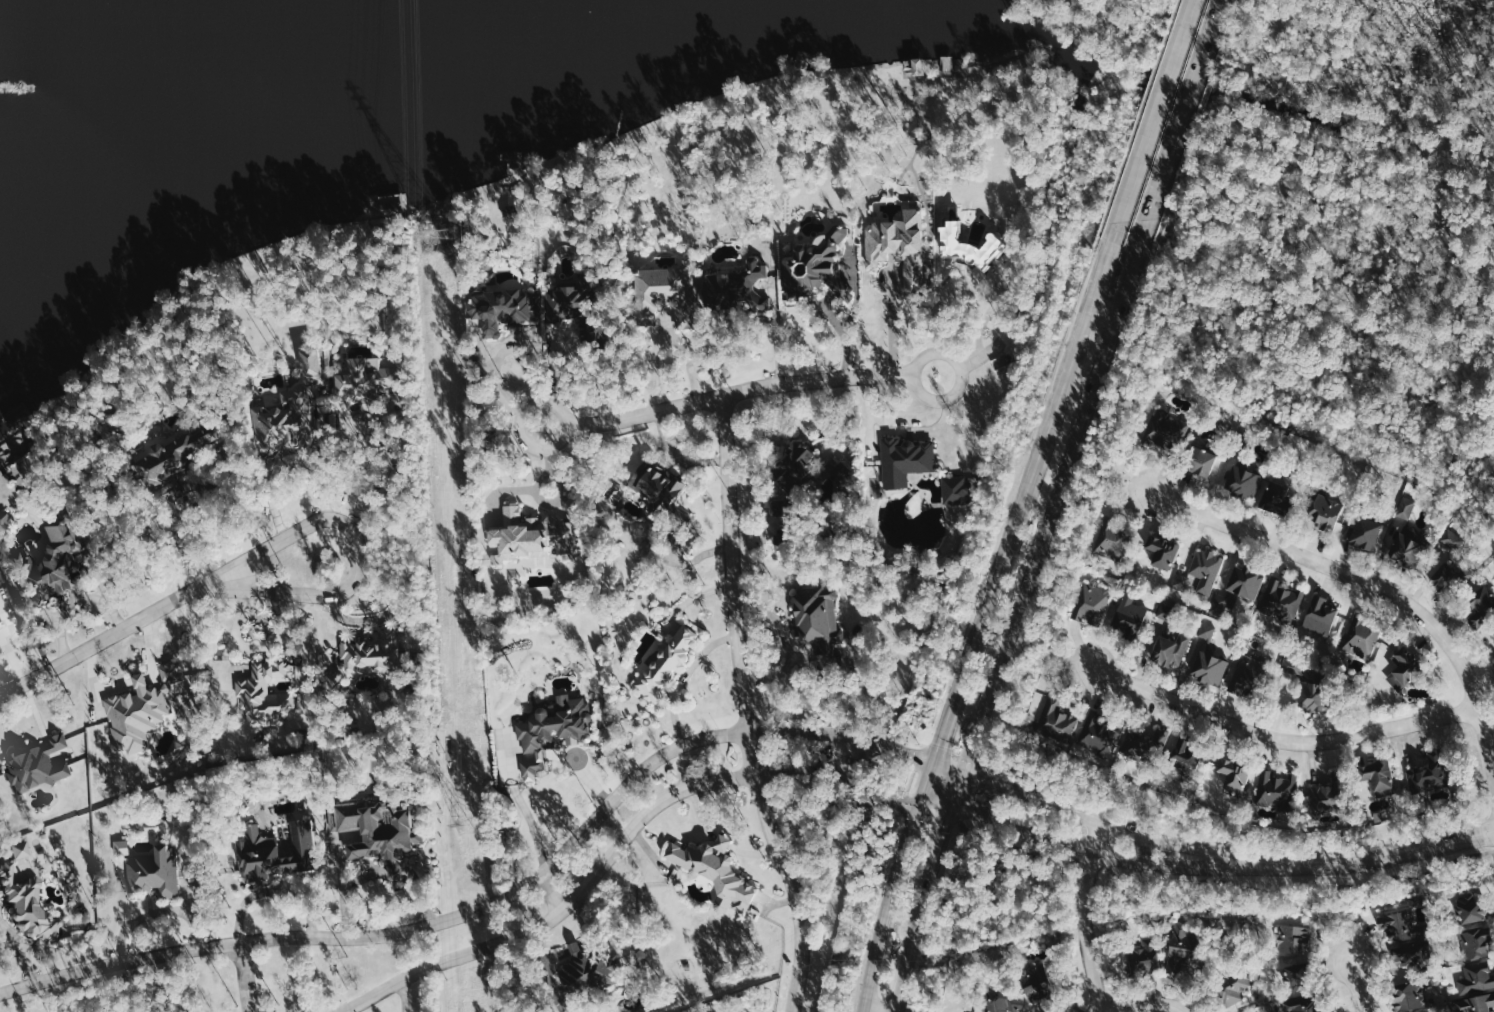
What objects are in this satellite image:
building: (945, 64)
building: (914, 67)
road: (1166, 72)
road: (1194, 78)
road: (1210, 79)
power tower: (437, 233)
building: (893, 239)
building: (963, 243)
building: (487, 277)
building: (734, 288)
building: (665, 293)
building: (573, 307)
building: (503, 308)
road: (892, 324)
road: (977, 332)
road: (663, 336)
building: (321, 363)
building: (364, 378)
road: (566, 383)
road: (503, 387)
road: (735, 391)
building: (290, 411)
road: (1049, 418)
building: (1165, 433)
building: (191, 450)
road: (675, 454)
road: (285, 457)
road: (400, 459)
building: (903, 460)
building: (1198, 460)
road: (1067, 465)
building: (793, 467)
road: (1080, 468)
building: (1242, 481)
building: (656, 486)
building: (954, 489)
building: (1277, 497)
building: (1406, 508)
building: (1326, 511)
building: (4, 522)
road: (190, 527)
building: (1365, 532)
building: (532, 535)
building: (1111, 539)
building: (782, 542)
building: (1406, 547)
road: (356, 549)
building: (1162, 552)
building: (1449, 562)
building: (49, 566)
building: (1205, 569)
road: (731, 572)
road: (1359, 574)
building: (1244, 581)
road: (395, 600)
building: (1223, 601)
building: (1282, 602)
building: (1091, 603)
building: (1481, 606)
building: (1128, 614)
building: (1319, 615)
building: (816, 618)
building: (2, 619)
road: (359, 619)
building: (1206, 631)
building: (1360, 634)
road: (108, 637)
building: (1169, 649)
building: (375, 654)
road: (15, 658)
building: (667, 662)
building: (1291, 666)
building: (1208, 667)
building: (1405, 667)
building: (1243, 675)
road: (681, 676)
building: (333, 684)
building: (264, 695)
building: (1310, 695)
building: (140, 708)
building: (1056, 721)
building: (552, 731)
building: (1101, 733)
road: (1282, 733)
road: (1, 734)
traffic signals: (939, 741)
road: (874, 742)
building: (1144, 744)
road: (936, 748)
road: (843, 754)
building: (1185, 755)
building: (36, 766)
road: (946, 768)
building: (1428, 773)
building: (1232, 775)
building: (1378, 776)
traffic signals: (981, 780)
road: (865, 787)
building: (1275, 788)
traffic signals: (898, 798)
building: (1321, 802)
road: (932, 804)
road: (1096, 819)
traffic signals: (944, 823)
power tower: (467, 824)
building: (376, 831)
road: (941, 831)
road: (718, 838)
building: (126, 847)
building: (20, 850)
road: (1088, 850)
building: (276, 852)
road: (1364, 854)
building: (153, 871)
building: (714, 872)
road: (790, 878)
road: (581, 889)
road: (549, 890)
building: (1467, 905)
road: (885, 907)
building: (25, 908)
road: (1084, 916)
road: (435, 921)
building: (1400, 923)
building: (1292, 939)
building: (1476, 942)
road: (21, 947)
road: (576, 947)
road: (908, 950)
building: (1175, 953)
building: (1140, 956)
building: (1408, 956)
building: (588, 971)
road: (245, 977)
building: (1295, 978)
building: (1033, 983)
road: (1358, 986)
building: (1231, 987)
road: (402, 994)
building: (1411, 996)
building: (1003, 1000)
building: (1477, 1003)
road: (1143, 1004)
building: (1303, 1004)
road: (344, 1010)
road: (867, 1010)
building: (1251, 1011)
building: (1430, 1011)

